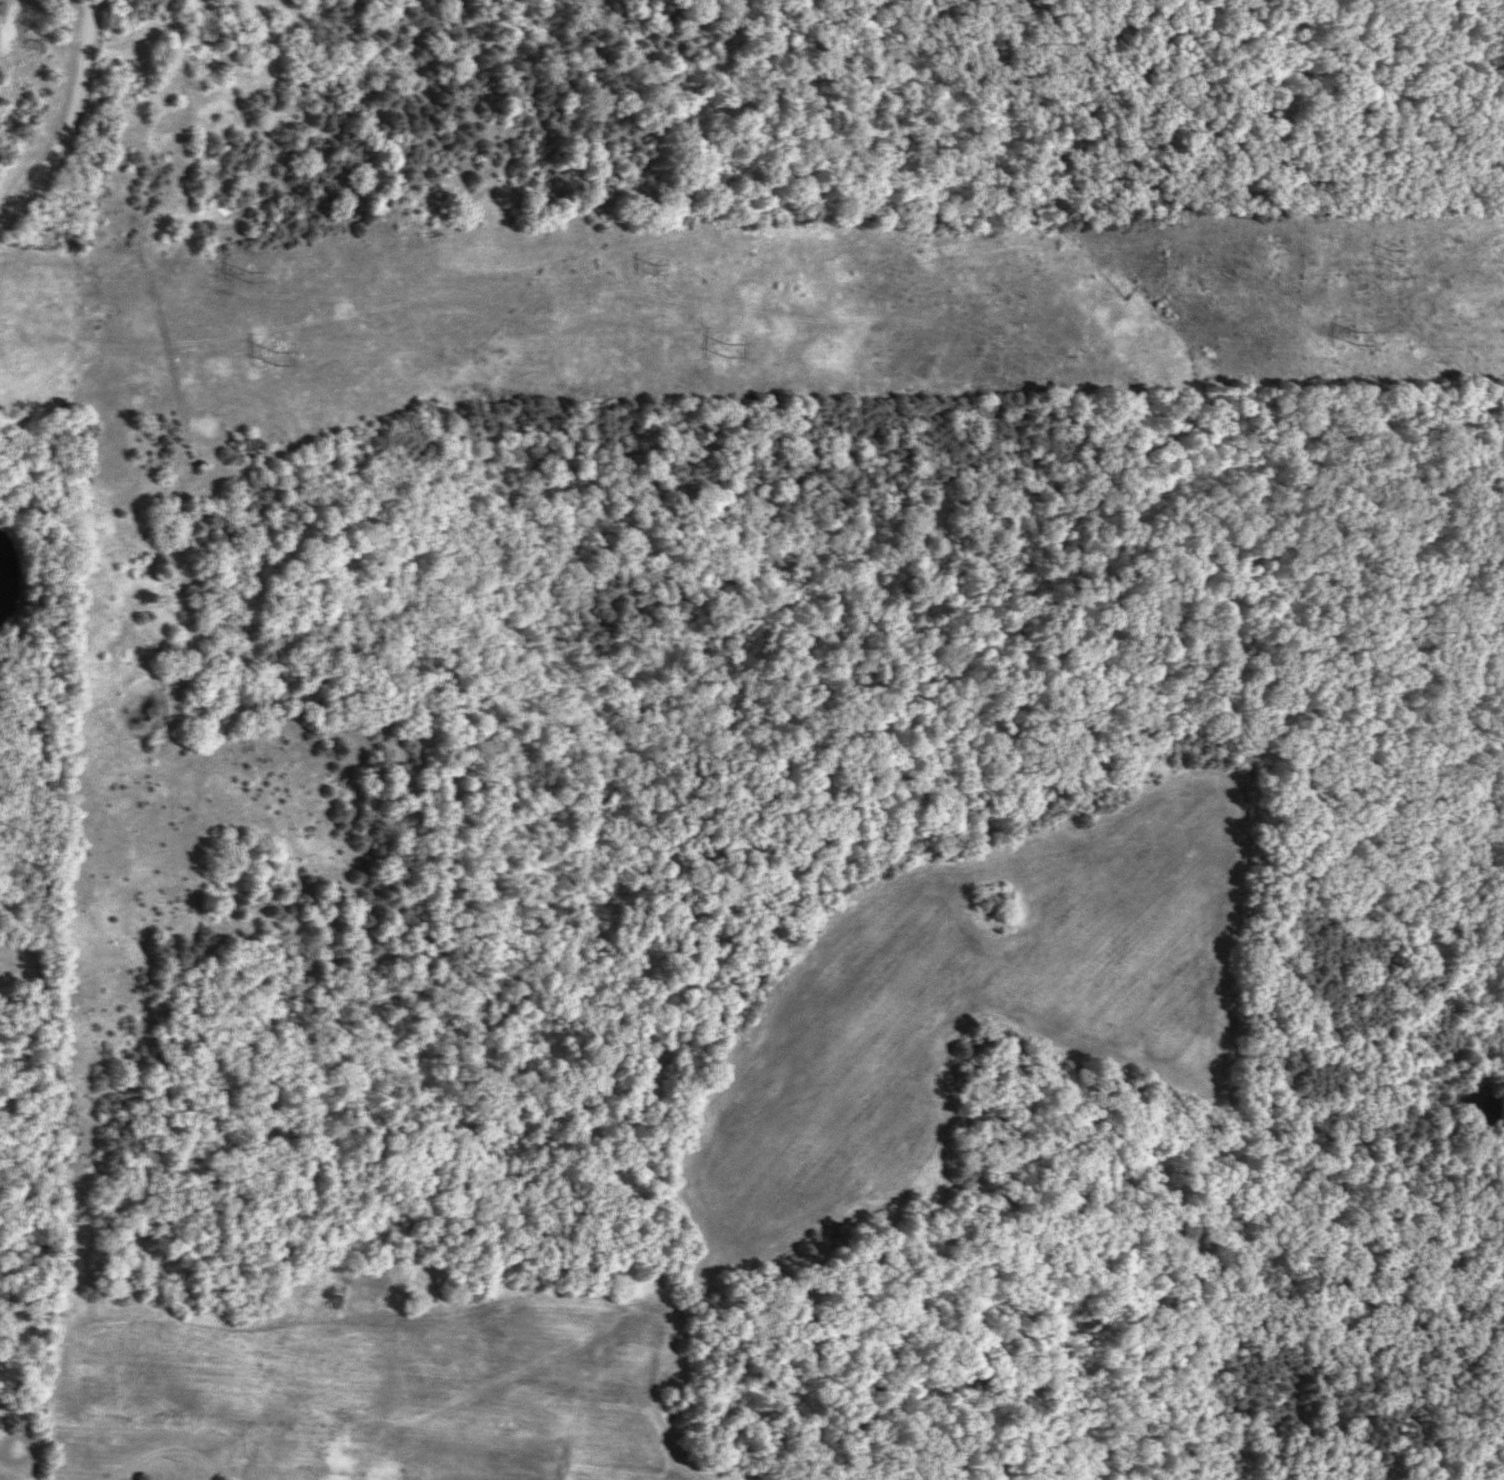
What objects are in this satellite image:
road: (87, 63)
road: (36, 177)
power tower: (1389, 263)
power tower: (253, 272)
power tower: (649, 272)
power tower: (1352, 342)
power tower: (722, 351)
power tower: (278, 363)
building: (248, 451)
road: (167, 1451)

